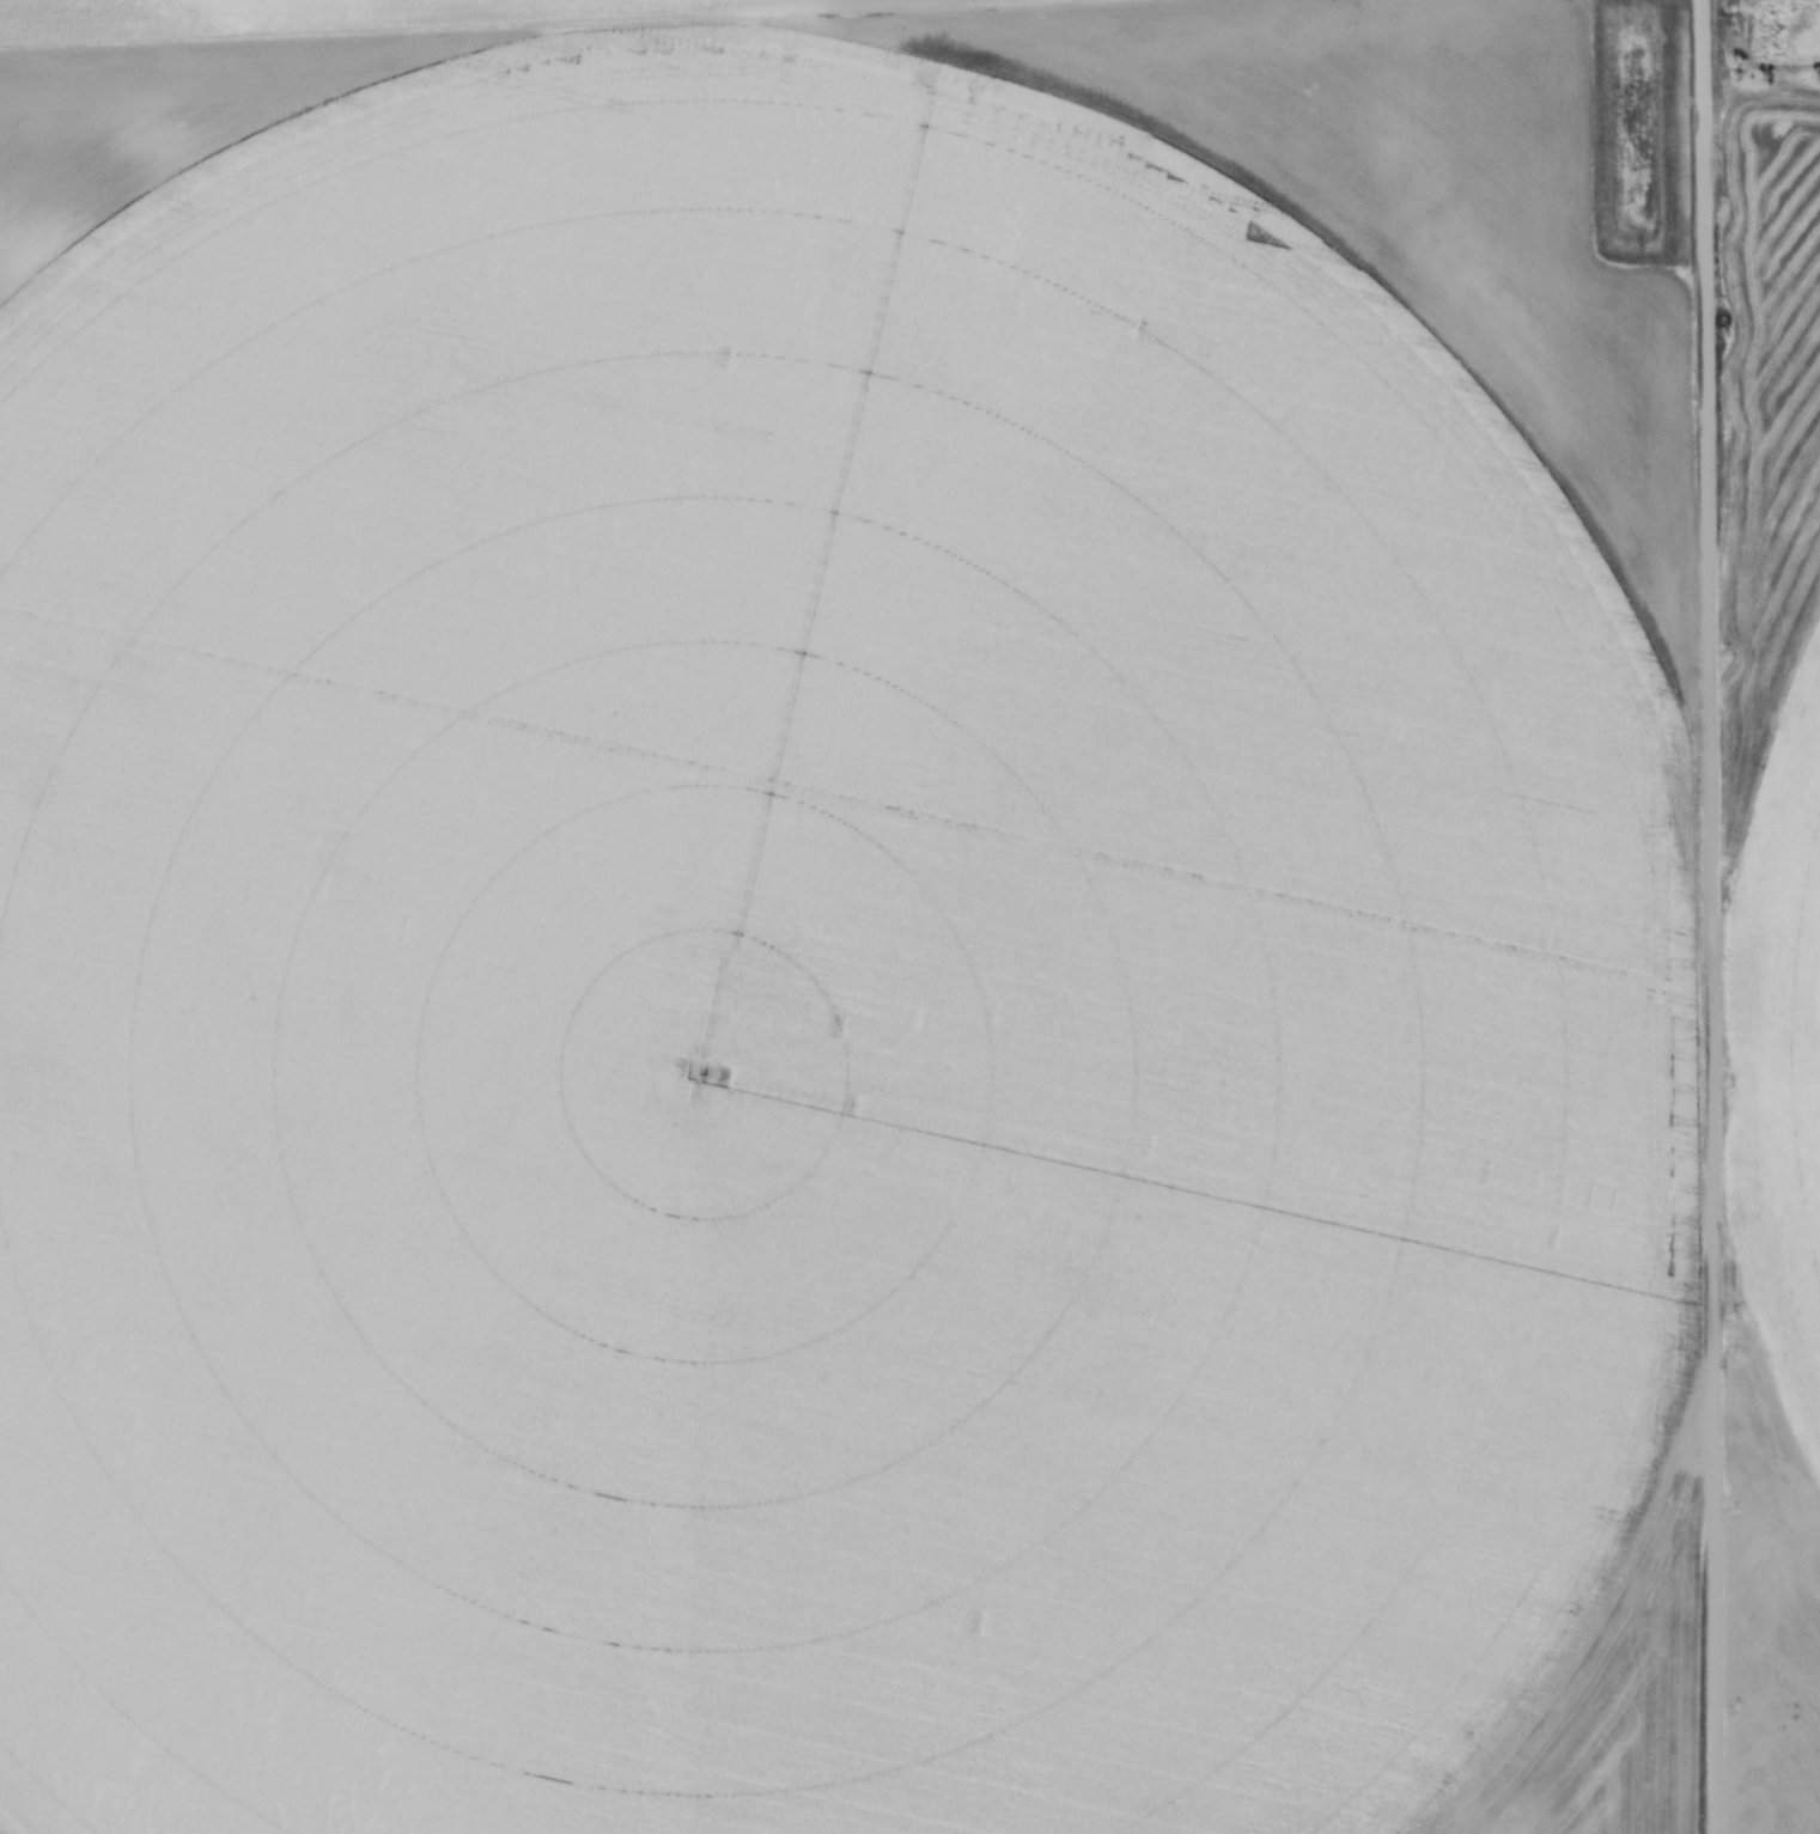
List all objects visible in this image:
road: (1710, 916)
crop: (840, 925)
crop: (1772, 959)

